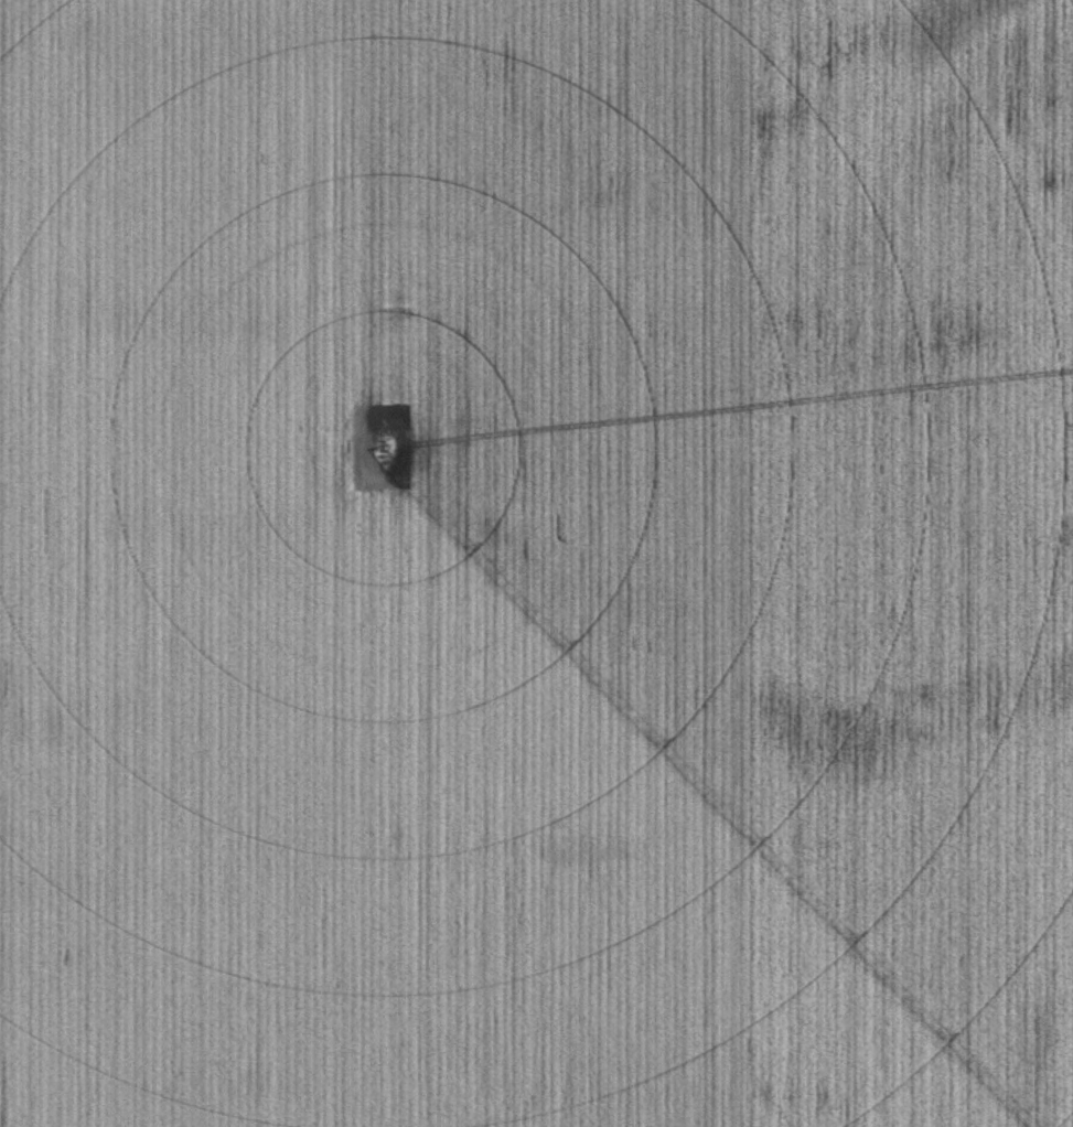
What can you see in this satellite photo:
crop: (536, 563)

